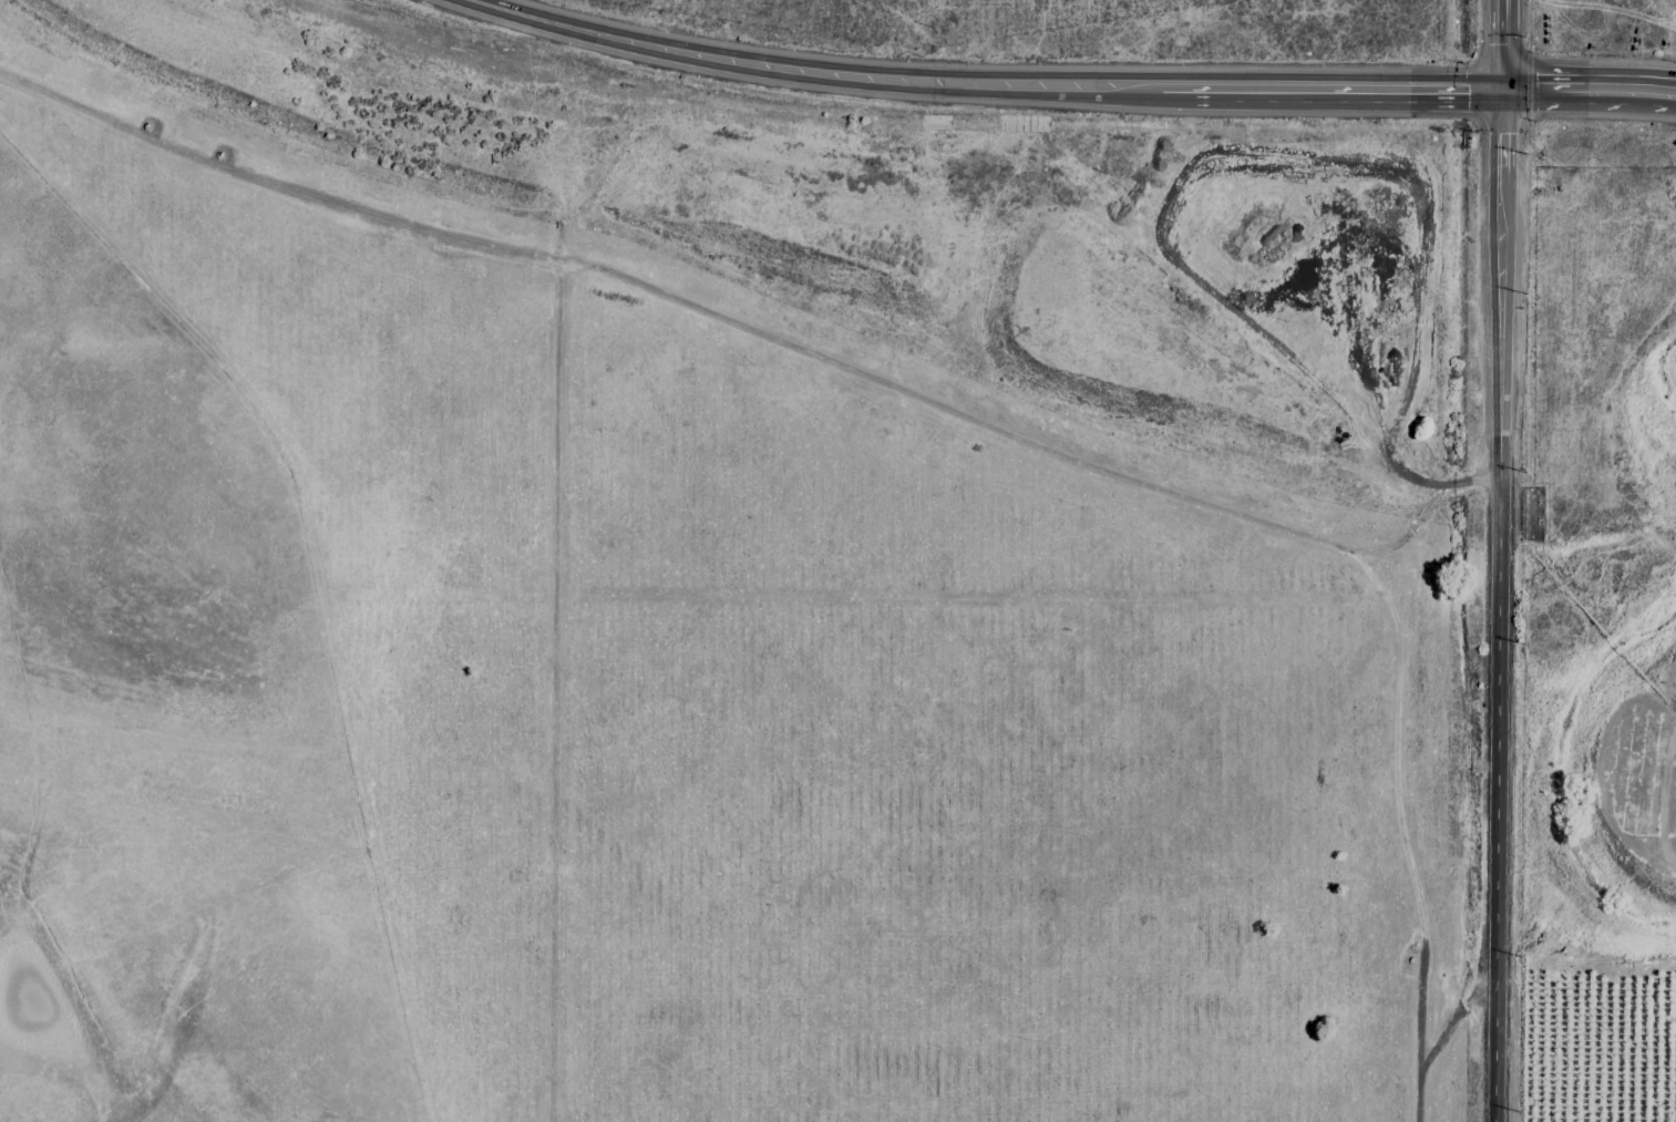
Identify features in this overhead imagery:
park: (864, 29)
road: (1500, 45)
road: (979, 85)
road: (1588, 89)
road: (762, 333)
crop: (1632, 538)
road: (1498, 606)
park: (670, 697)
road: (1438, 1040)

